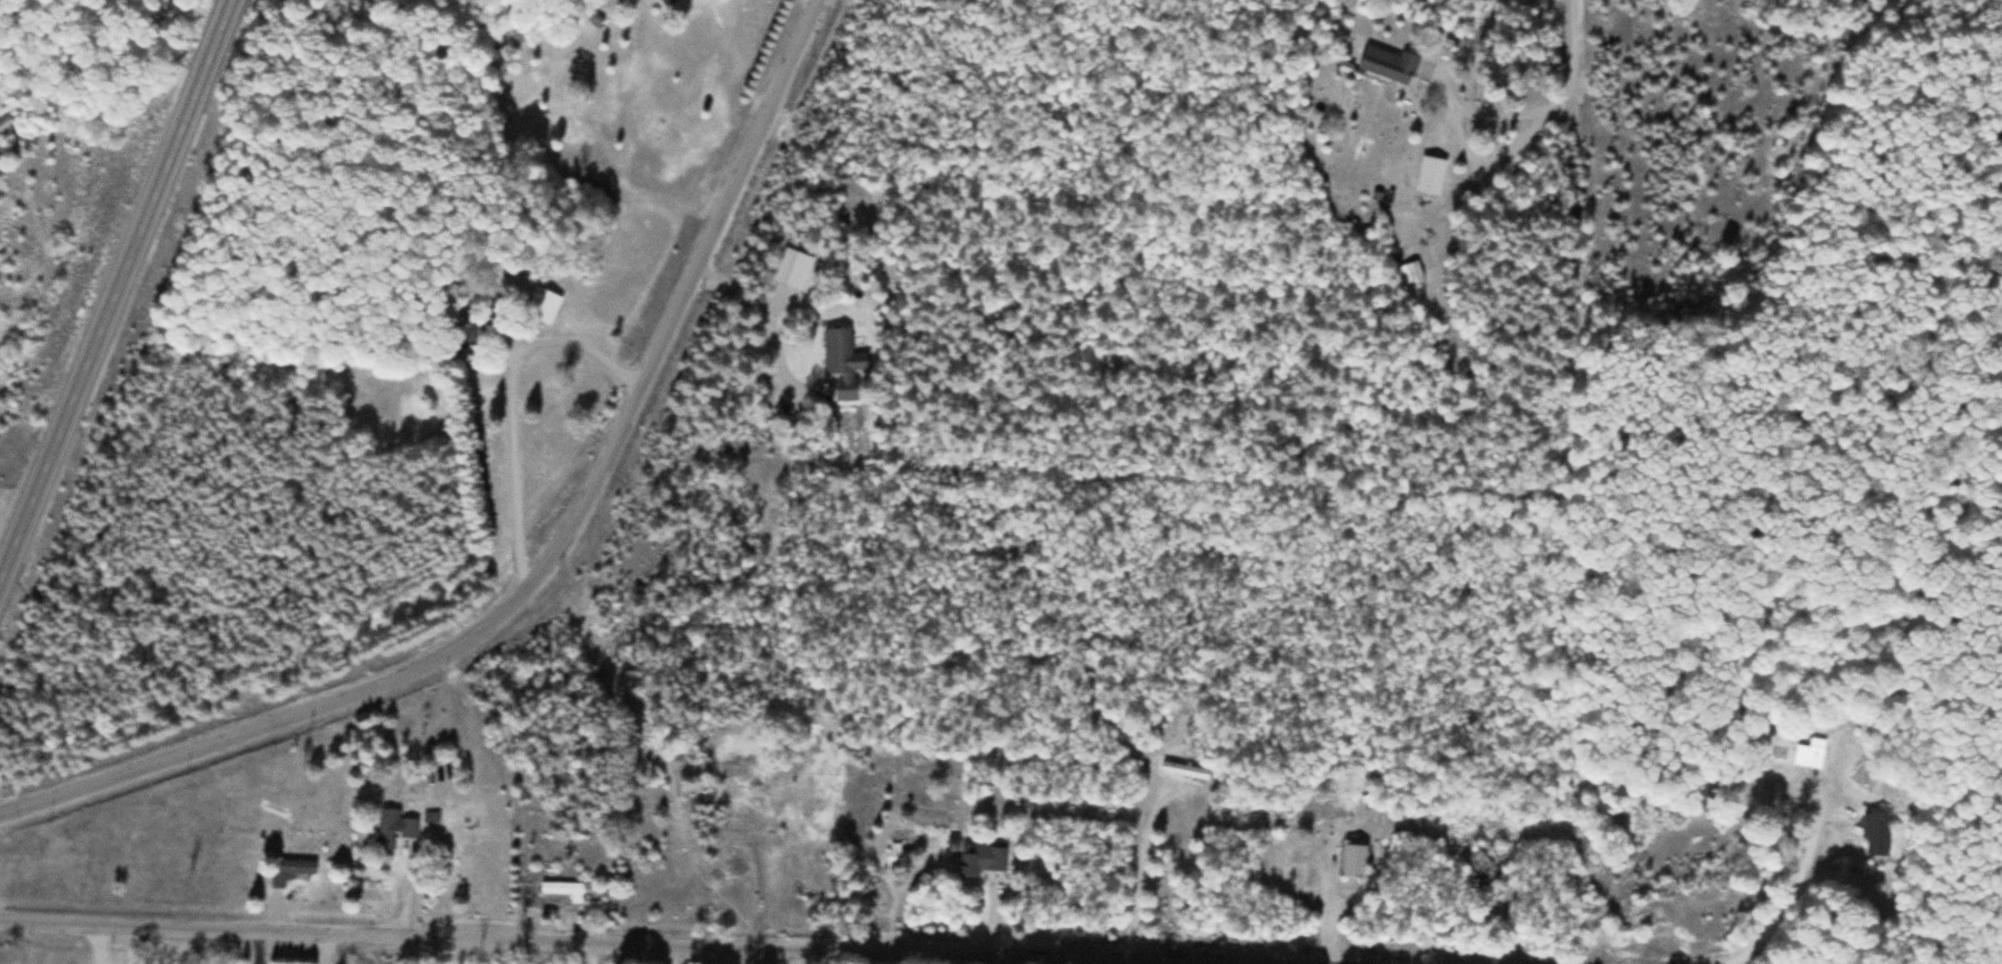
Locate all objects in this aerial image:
building: (665, 1)
building: (1388, 64)
building: (1430, 176)
road: (117, 292)
building: (542, 305)
building: (457, 340)
building: (840, 360)
road: (551, 558)
building: (1810, 753)
building: (1185, 771)
road: (461, 800)
building: (1367, 801)
building: (393, 830)
building: (1876, 834)
building: (898, 858)
building: (981, 859)
building: (1353, 860)
building: (291, 870)
building: (1483, 870)
building: (566, 891)
road: (652, 944)

